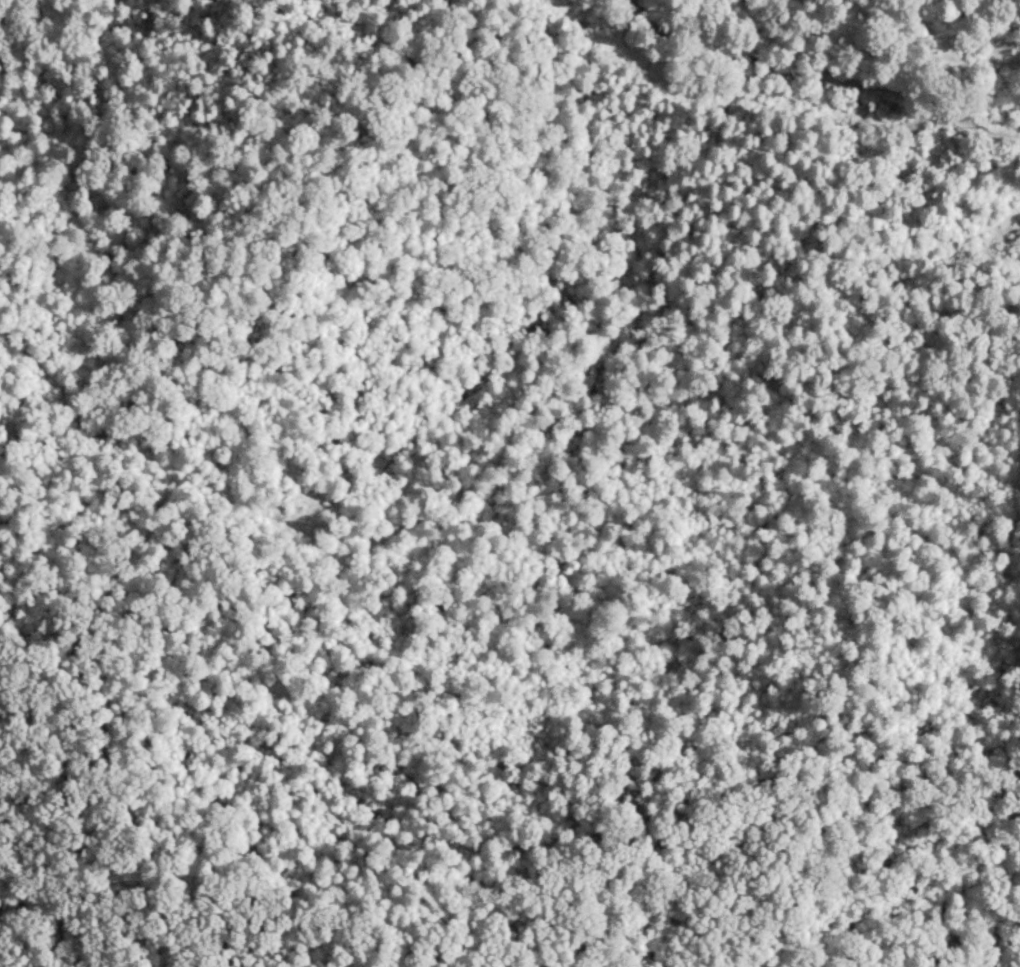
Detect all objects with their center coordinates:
road: (819, 77)

